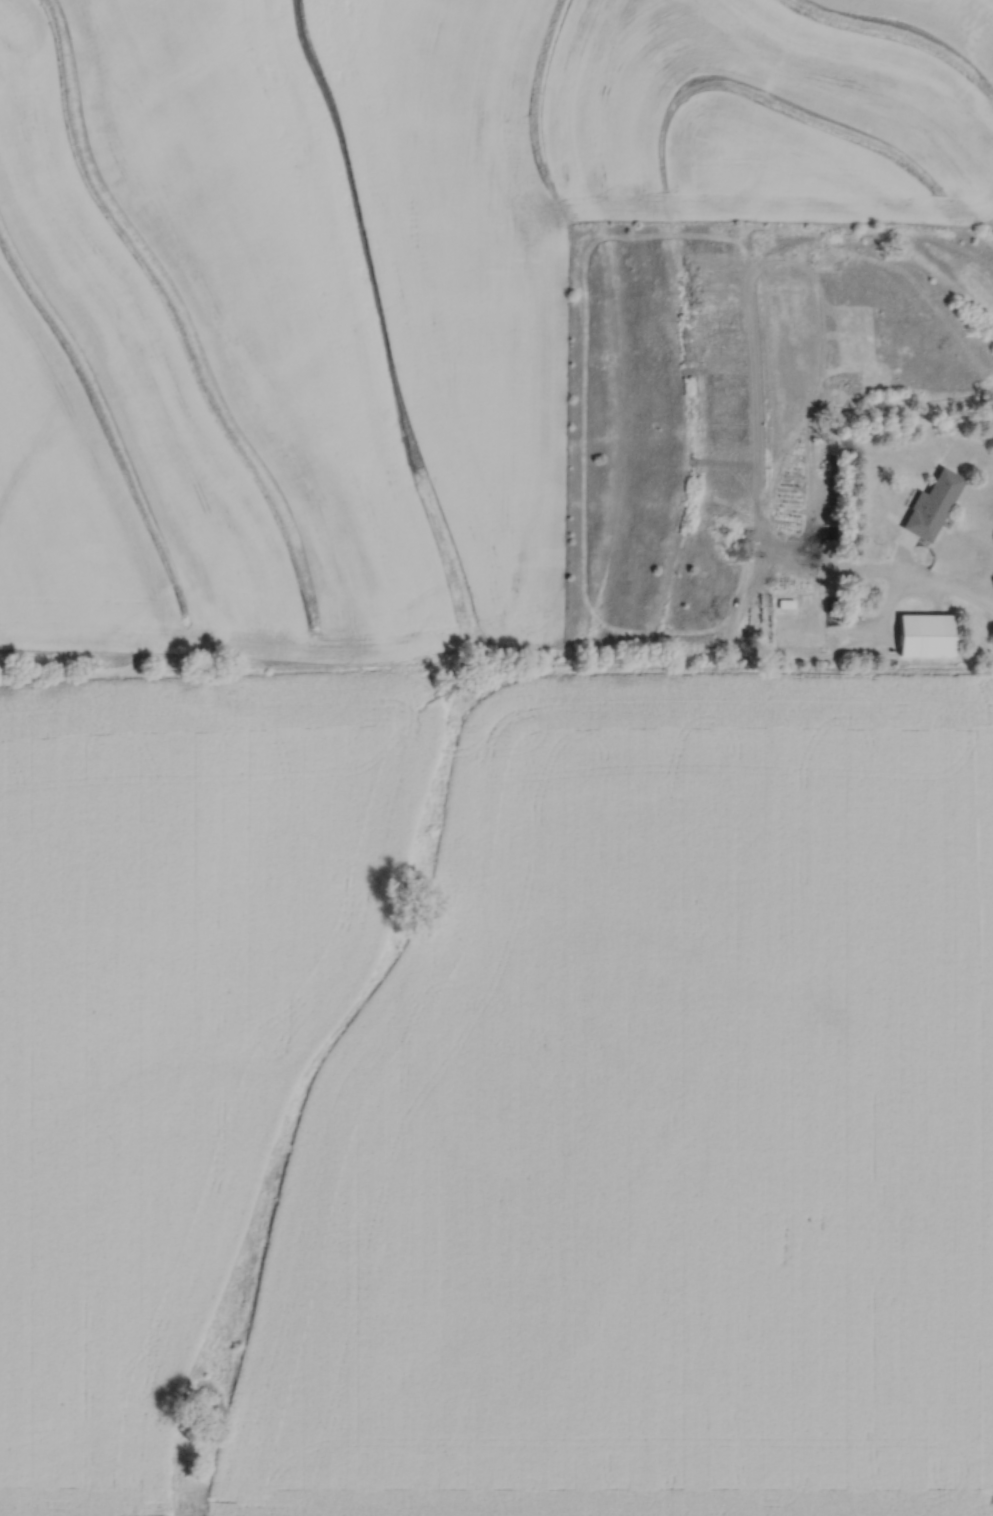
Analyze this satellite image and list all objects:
building: (928, 505)
road: (948, 585)
building: (922, 634)

